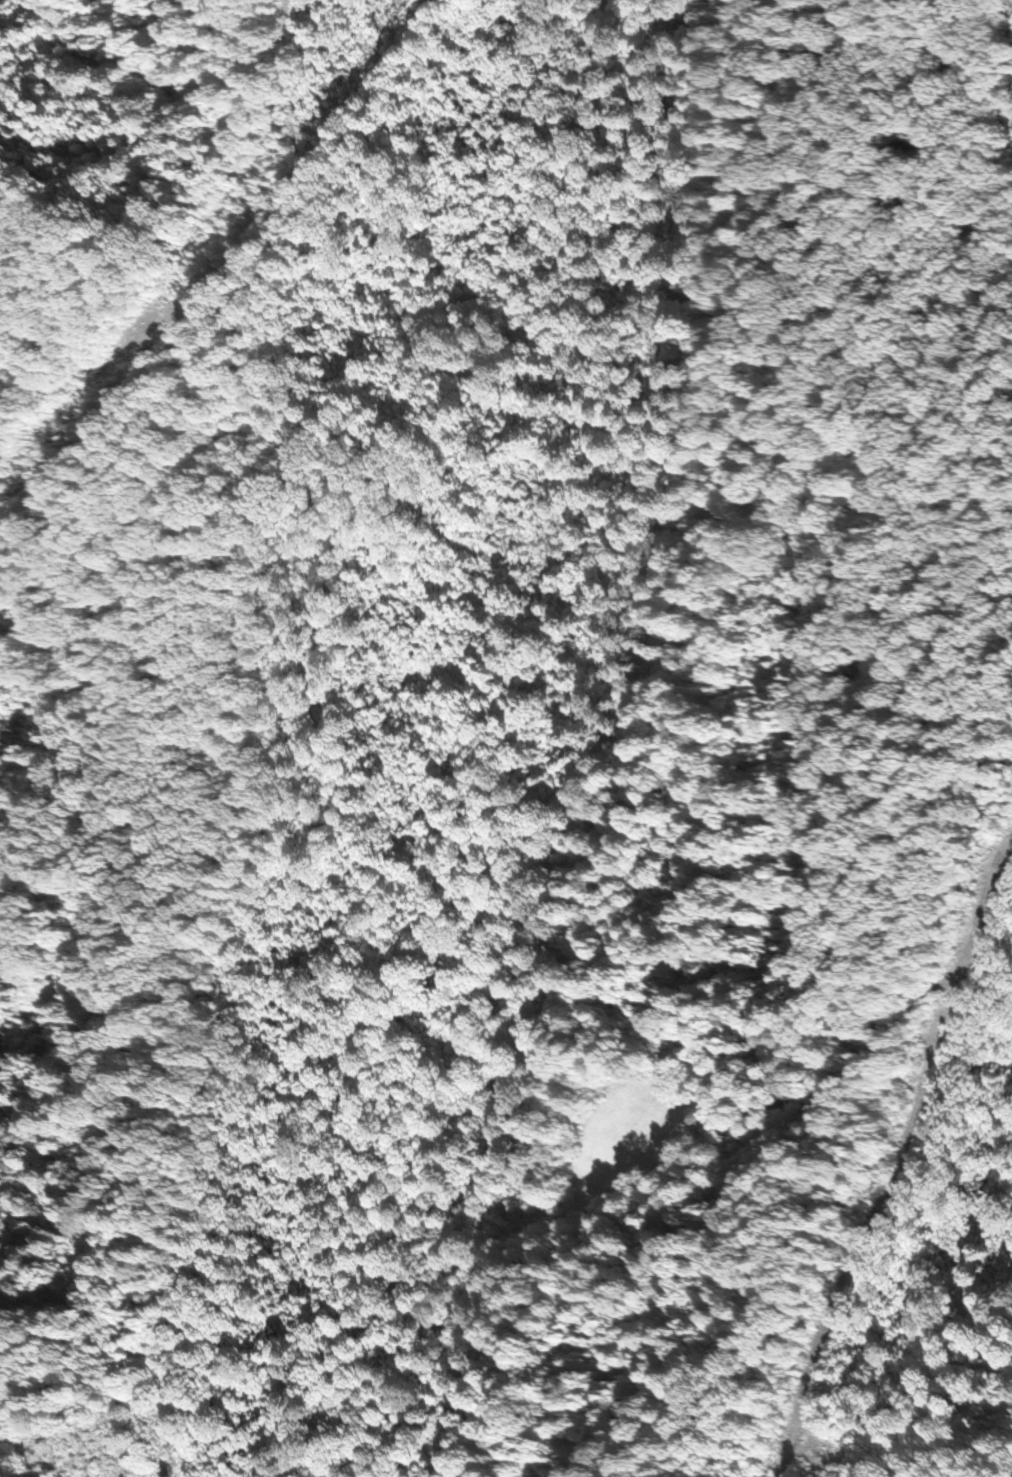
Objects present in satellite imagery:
road: (907, 1166)

